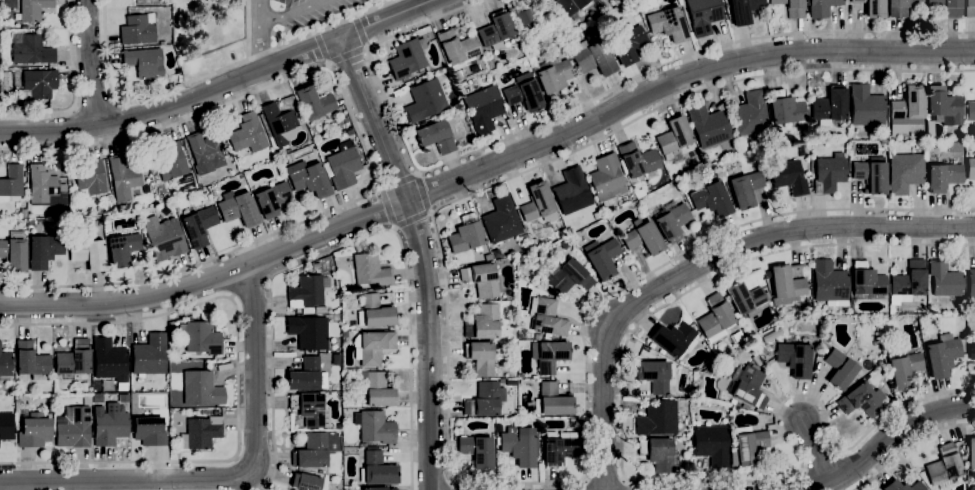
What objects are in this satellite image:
building: (605, 0)
road: (410, 4)
building: (570, 7)
building: (791, 7)
building: (898, 7)
building: (948, 7)
building: (822, 8)
building: (873, 8)
building: (969, 8)
building: (34, 9)
building: (744, 10)
road: (290, 13)
building: (703, 15)
building: (531, 17)
building: (667, 23)
building: (137, 30)
road: (360, 30)
building: (496, 30)
road: (258, 34)
building: (627, 43)
road: (322, 46)
building: (458, 48)
building: (31, 50)
road: (347, 55)
building: (592, 57)
building: (408, 58)
road: (94, 62)
building: (144, 62)
road: (208, 74)
building: (457, 76)
building: (552, 77)
building: (40, 83)
road: (220, 86)
road: (75, 90)
building: (523, 93)
building: (425, 100)
building: (314, 103)
road: (95, 104)
building: (829, 106)
building: (866, 106)
building: (908, 106)
building: (943, 106)
building: (483, 108)
building: (785, 108)
road: (569, 111)
building: (970, 111)
building: (750, 114)
building: (346, 120)
building: (280, 124)
building: (708, 126)
building: (350, 132)
building: (247, 134)
building: (437, 136)
building: (674, 139)
road: (532, 146)
road: (365, 149)
building: (280, 152)
building: (205, 153)
building: (639, 160)
building: (171, 162)
building: (343, 165)
building: (970, 168)
building: (905, 172)
building: (828, 173)
building: (871, 174)
building: (943, 176)
building: (91, 177)
building: (788, 177)
building: (123, 178)
building: (308, 178)
building: (606, 179)
road: (397, 180)
building: (11, 182)
building: (45, 187)
building: (745, 188)
road: (424, 190)
building: (571, 191)
building: (272, 198)
building: (710, 198)
building: (537, 202)
building: (118, 208)
road: (386, 208)
building: (239, 209)
building: (164, 210)
road: (412, 219)
building: (670, 219)
building: (501, 220)
building: (31, 222)
building: (199, 225)
building: (466, 234)
building: (164, 237)
building: (525, 237)
building: (643, 238)
building: (534, 241)
road: (351, 242)
building: (122, 249)
building: (43, 250)
building: (88, 252)
building: (14, 253)
road: (420, 256)
building: (601, 257)
road: (703, 260)
building: (370, 270)
building: (766, 273)
building: (570, 277)
building: (481, 279)
building: (944, 279)
building: (909, 281)
building: (867, 282)
building: (829, 283)
building: (971, 283)
building: (785, 284)
building: (307, 292)
building: (745, 298)
road: (50, 303)
building: (814, 306)
building: (375, 312)
building: (886, 313)
building: (546, 317)
road: (645, 318)
building: (715, 318)
building: (484, 323)
building: (308, 332)
building: (344, 334)
building: (771, 335)
building: (201, 337)
building: (736, 337)
building: (674, 339)
building: (372, 347)
building: (971, 350)
building: (150, 355)
building: (548, 355)
building: (942, 355)
building: (480, 357)
building: (109, 359)
building: (794, 359)
building: (31, 360)
building: (73, 360)
building: (755, 361)
building: (5, 364)
building: (839, 369)
building: (904, 370)
building: (305, 374)
building: (655, 374)
building: (520, 376)
road: (238, 378)
building: (500, 380)
building: (84, 386)
building: (748, 387)
building: (201, 388)
building: (376, 389)
building: (483, 400)
building: (862, 400)
building: (552, 401)
building: (732, 401)
building: (311, 409)
road: (448, 416)
building: (657, 418)
building: (109, 424)
building: (6, 426)
building: (374, 426)
building: (74, 427)
building: (34, 430)
building: (149, 431)
building: (201, 432)
road: (889, 438)
building: (363, 444)
building: (711, 444)
road: (832, 444)
building: (747, 445)
road: (908, 445)
building: (520, 446)
building: (559, 449)
building: (311, 451)
building: (477, 451)
road: (815, 451)
building: (658, 453)
building: (971, 456)
building: (944, 467)
building: (376, 468)
road: (605, 479)
road: (234, 480)
building: (306, 481)
road: (453, 486)
building: (902, 486)
building: (378, 488)

